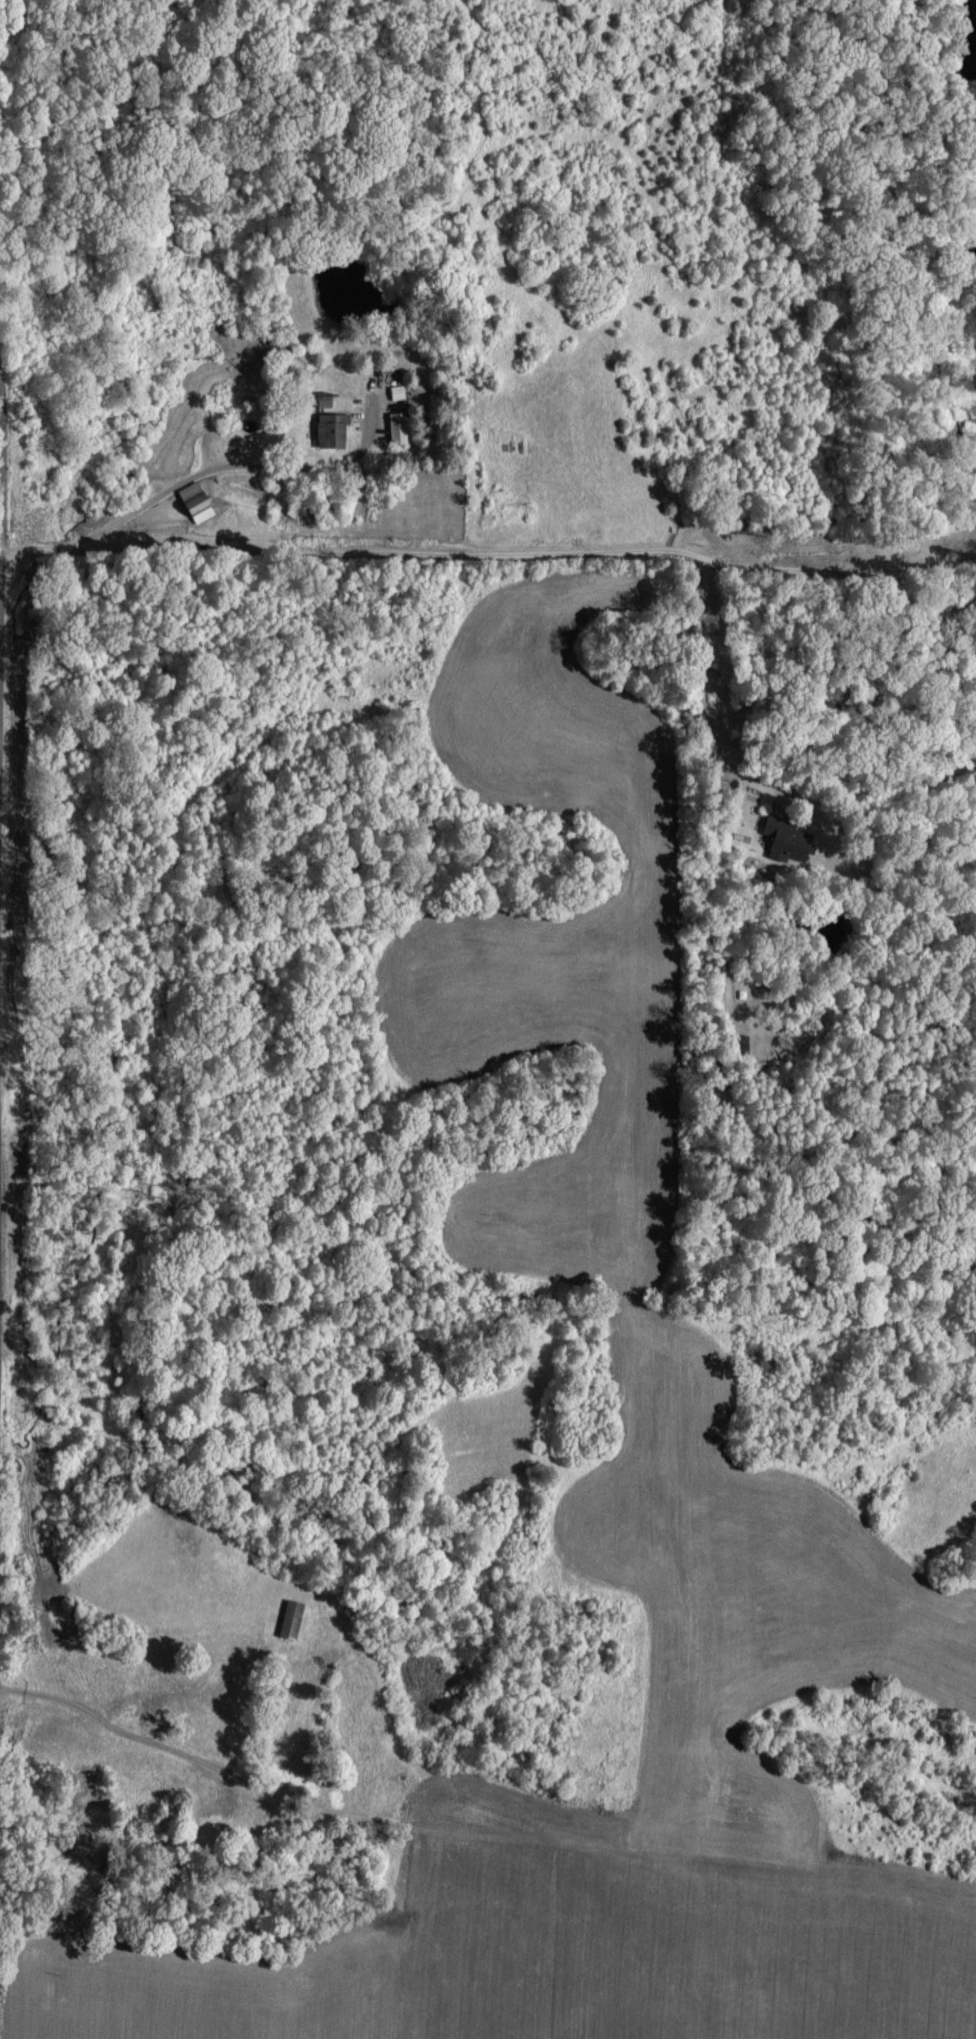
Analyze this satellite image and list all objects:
building: (397, 392)
building: (397, 427)
building: (332, 430)
road: (203, 470)
road: (1, 473)
building: (195, 497)
road: (497, 555)
road: (685, 693)
building: (787, 841)
building: (292, 1618)

